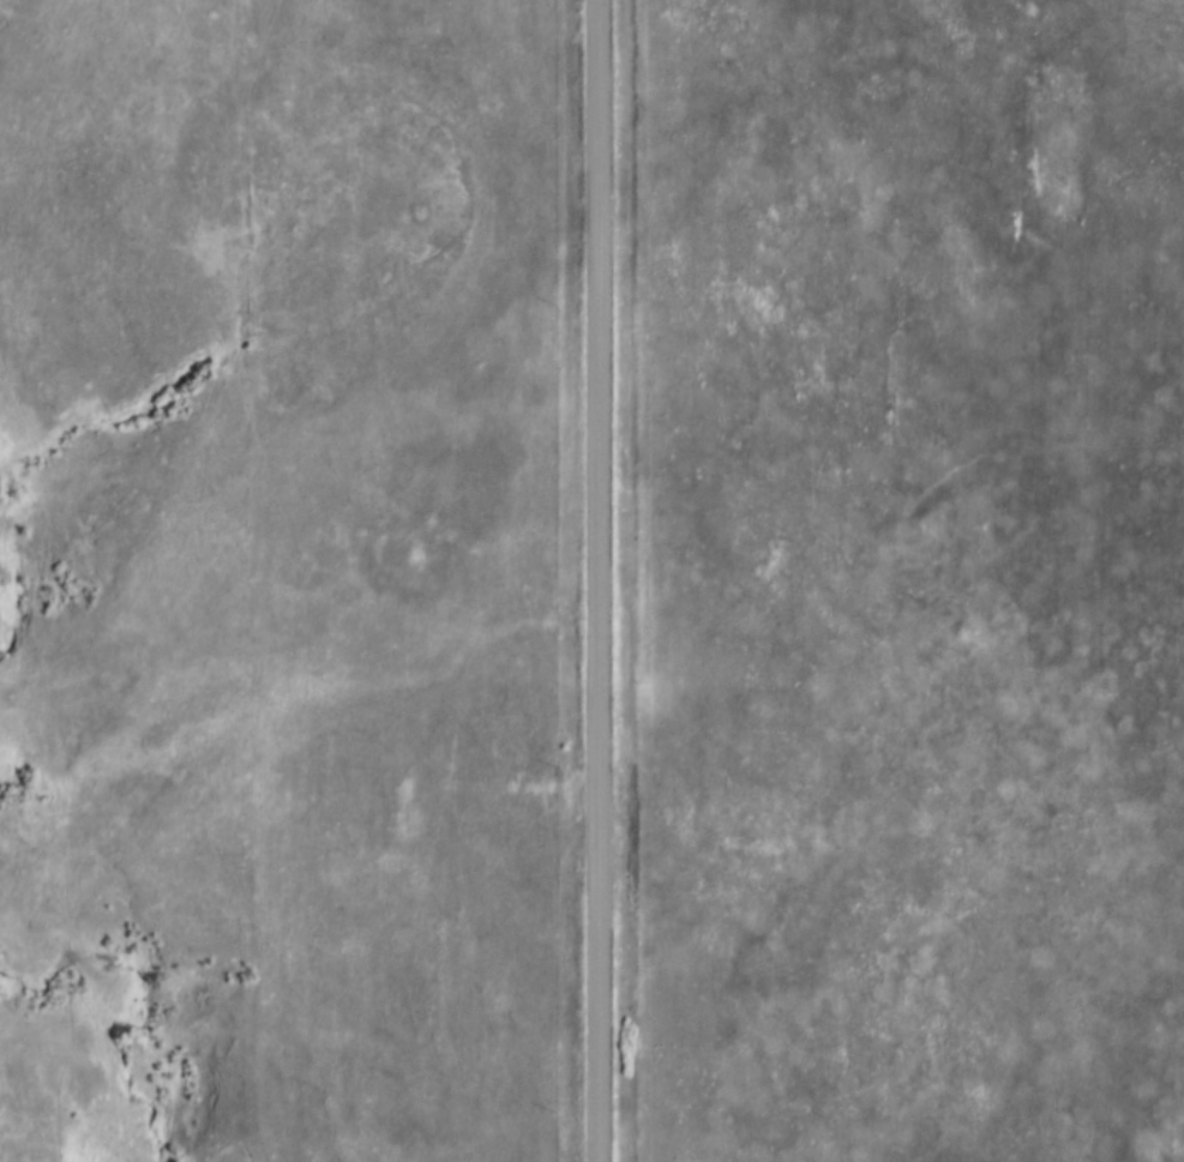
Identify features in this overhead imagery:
road: (599, 580)

